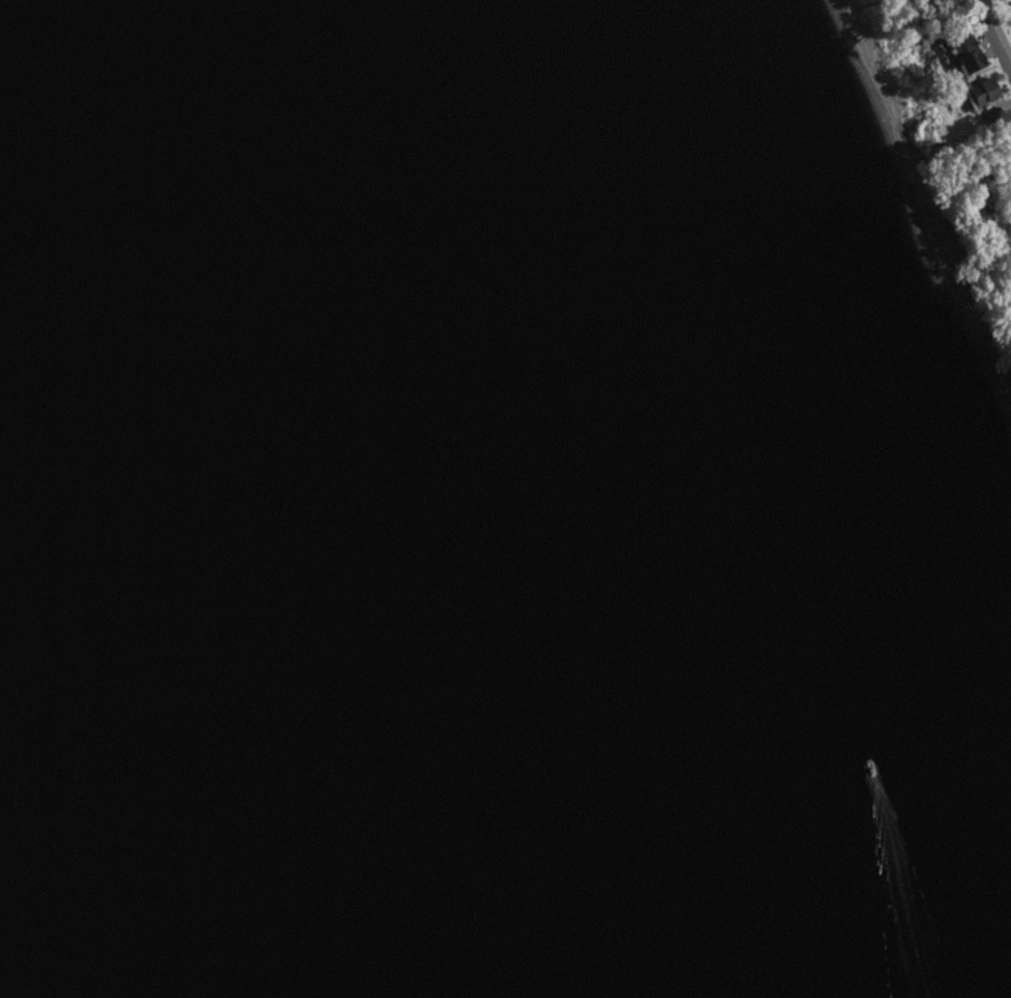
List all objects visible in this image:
road: (989, 46)
building: (972, 62)
building: (987, 91)
river: (402, 493)

